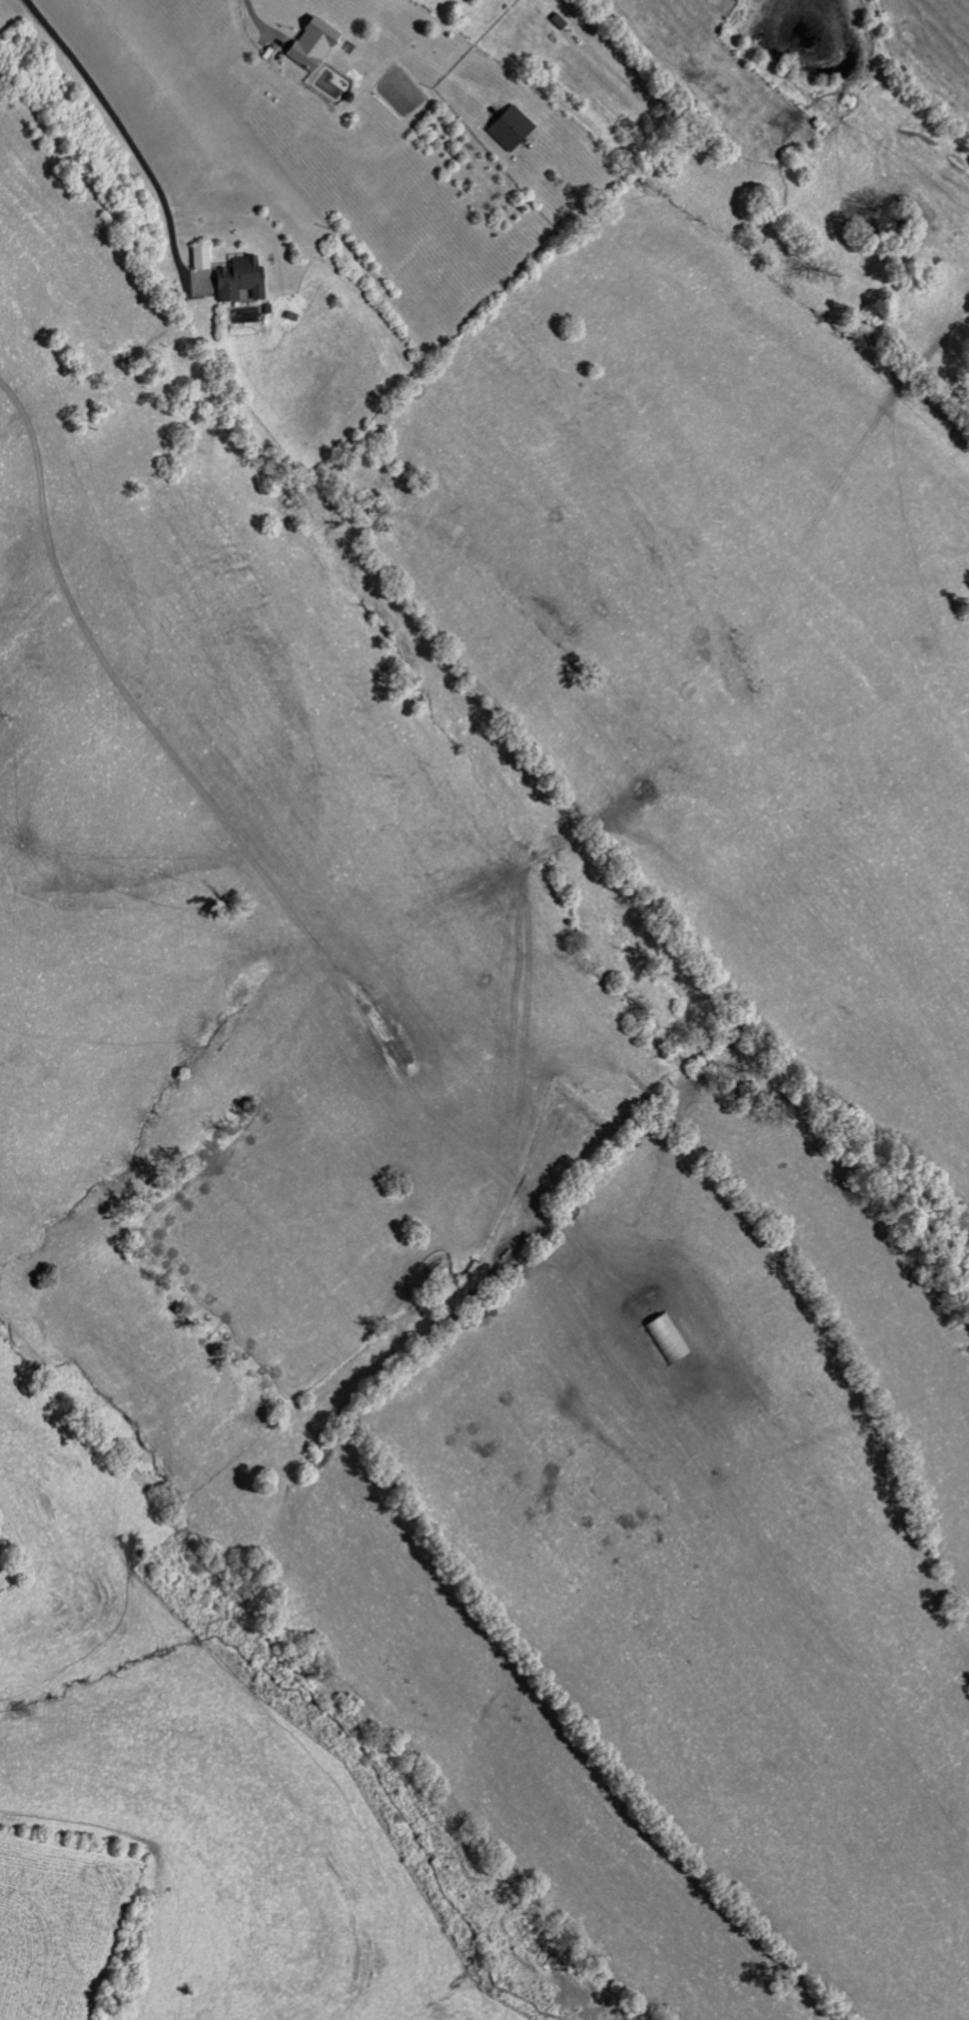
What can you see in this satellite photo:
road: (252, 19)
building: (312, 45)
building: (511, 129)
road: (118, 133)
building: (200, 258)
building: (239, 279)
road: (255, 871)

